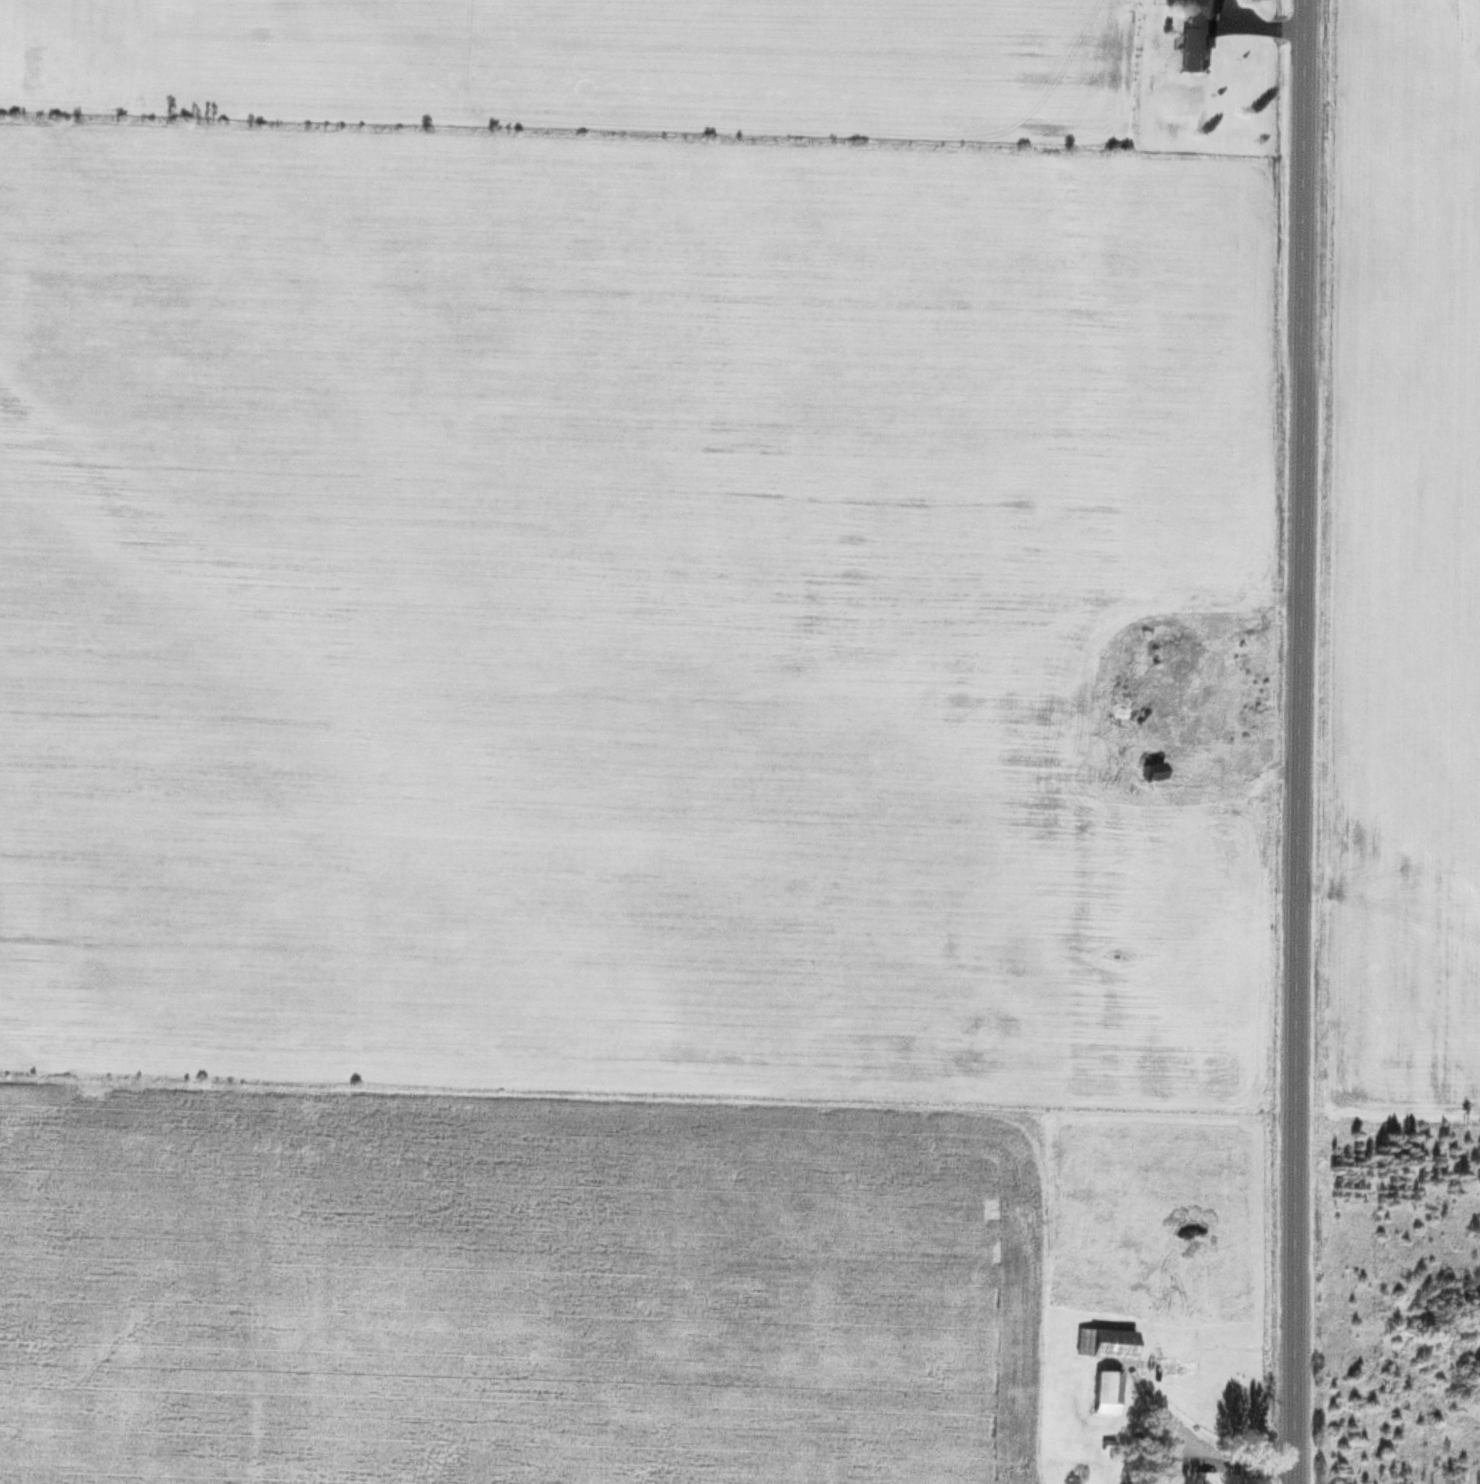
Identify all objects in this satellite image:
building: (1194, 36)
building: (1121, 676)
building: (1115, 716)
road: (1300, 742)
building: (1149, 769)
building: (1102, 1340)
building: (1103, 1390)

